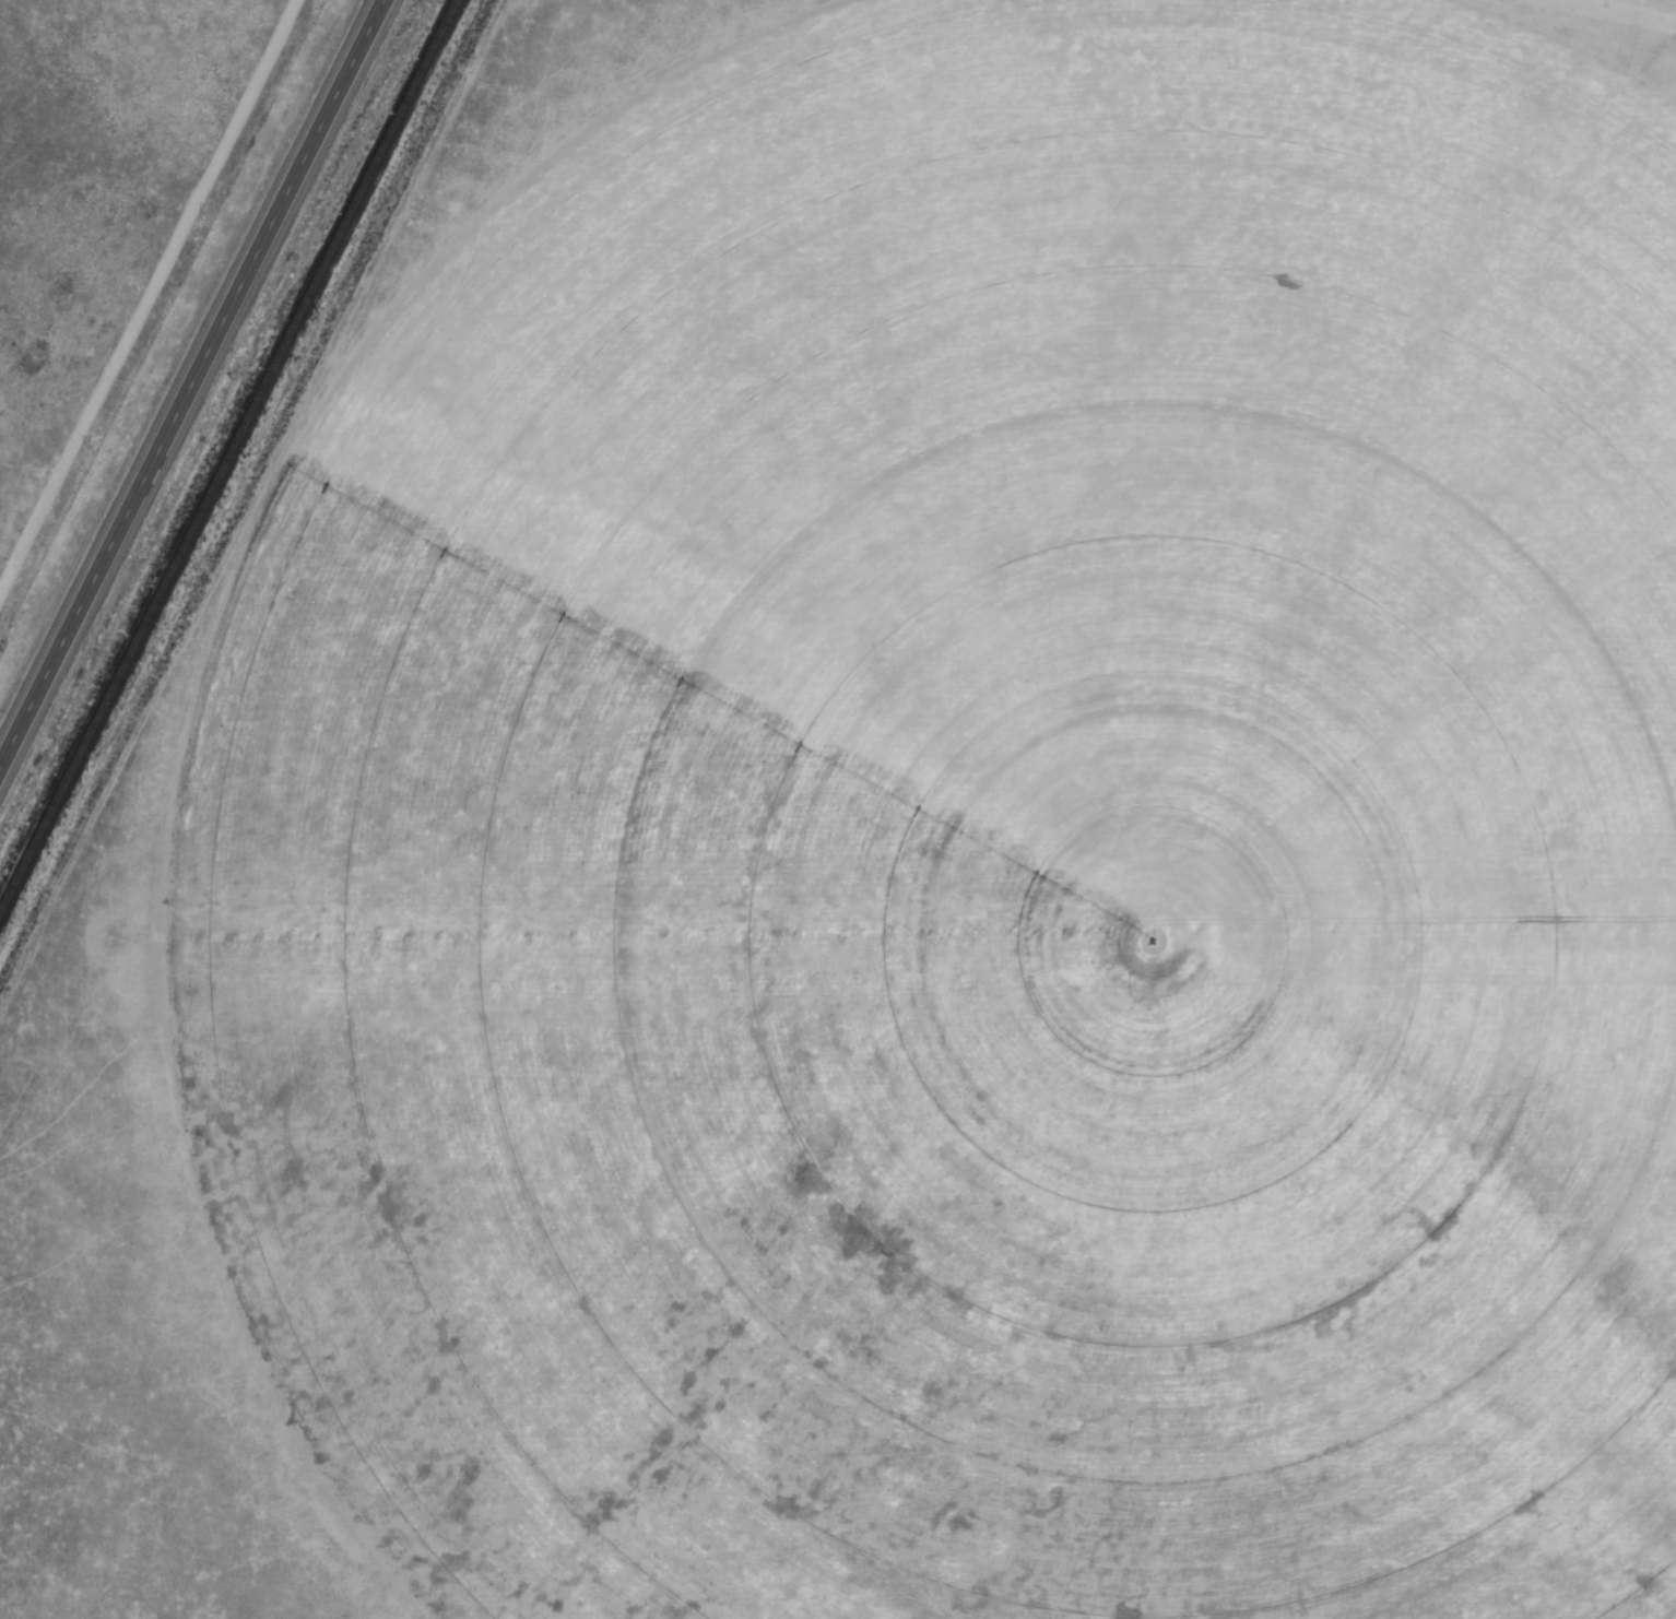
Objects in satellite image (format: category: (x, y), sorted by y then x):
road: (191, 378)
railway: (227, 454)

